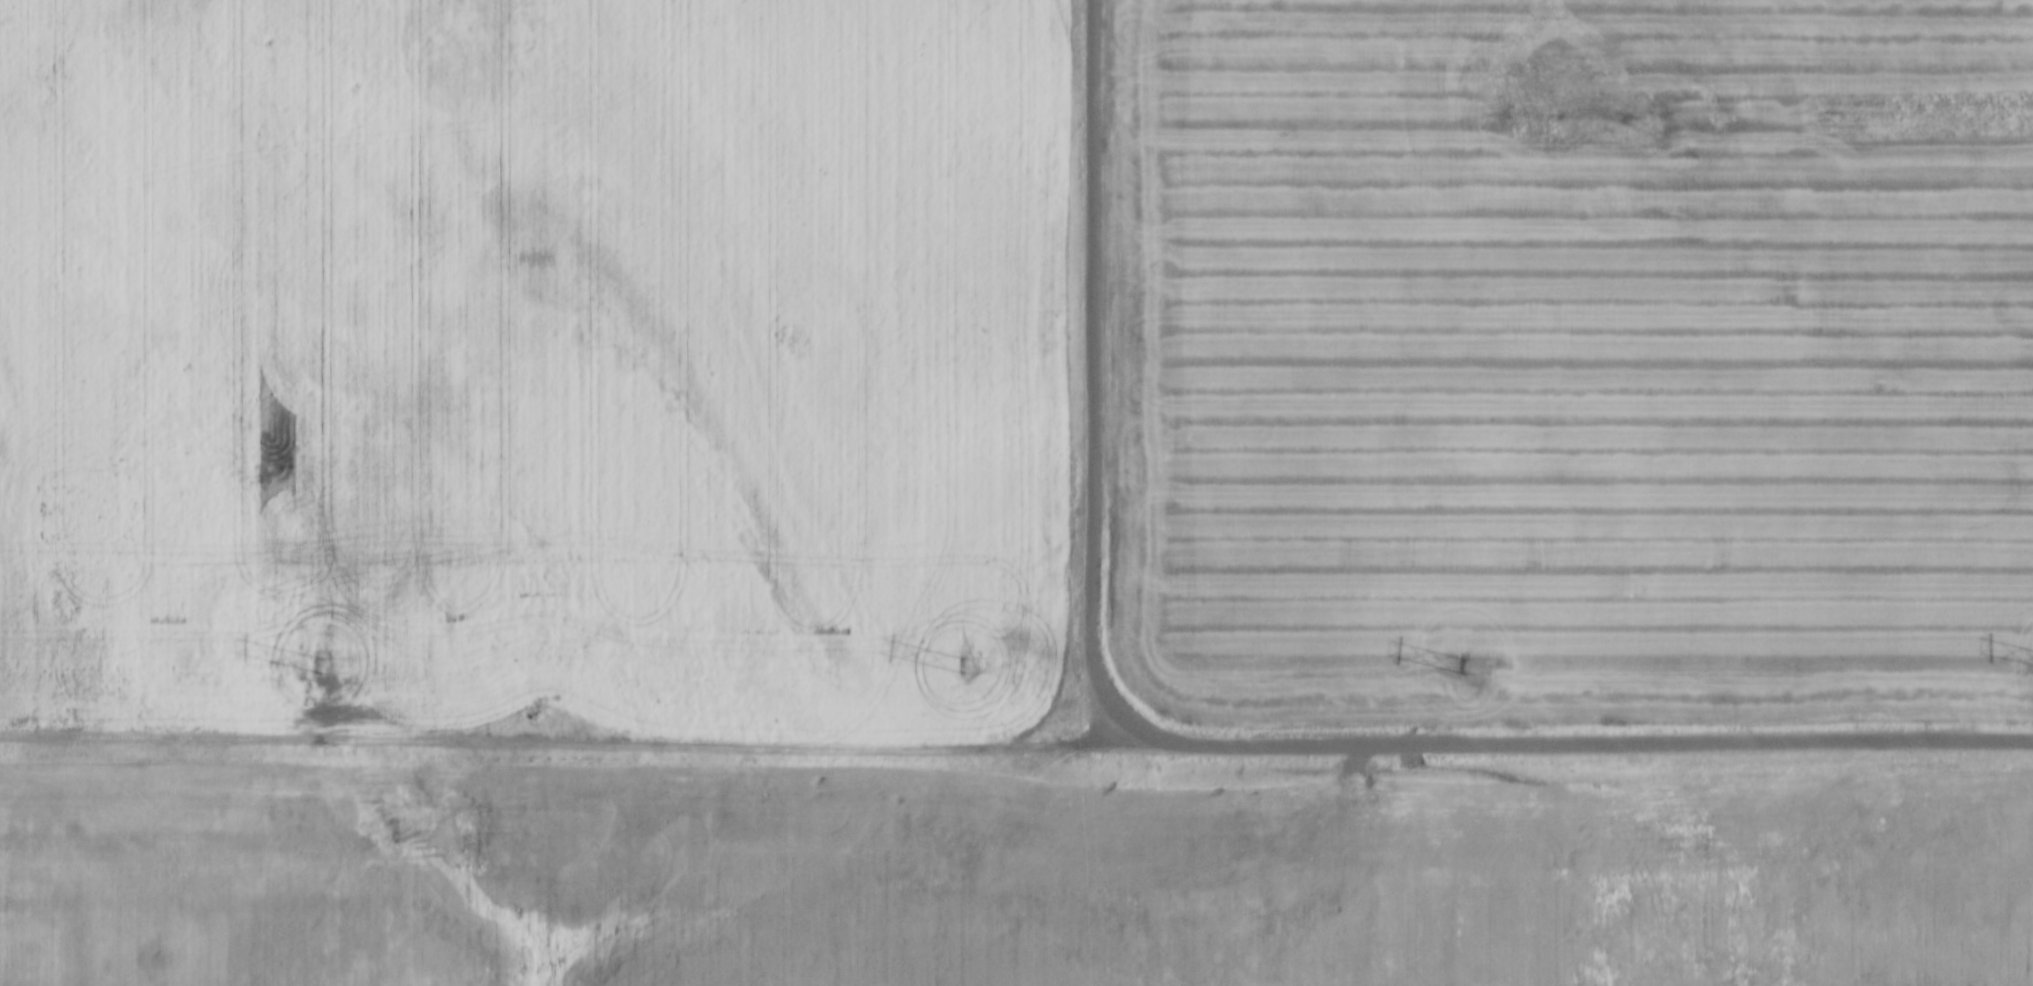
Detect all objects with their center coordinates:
power tower: (957, 658)
power tower: (1448, 659)
power tower: (318, 661)
road: (1016, 743)

